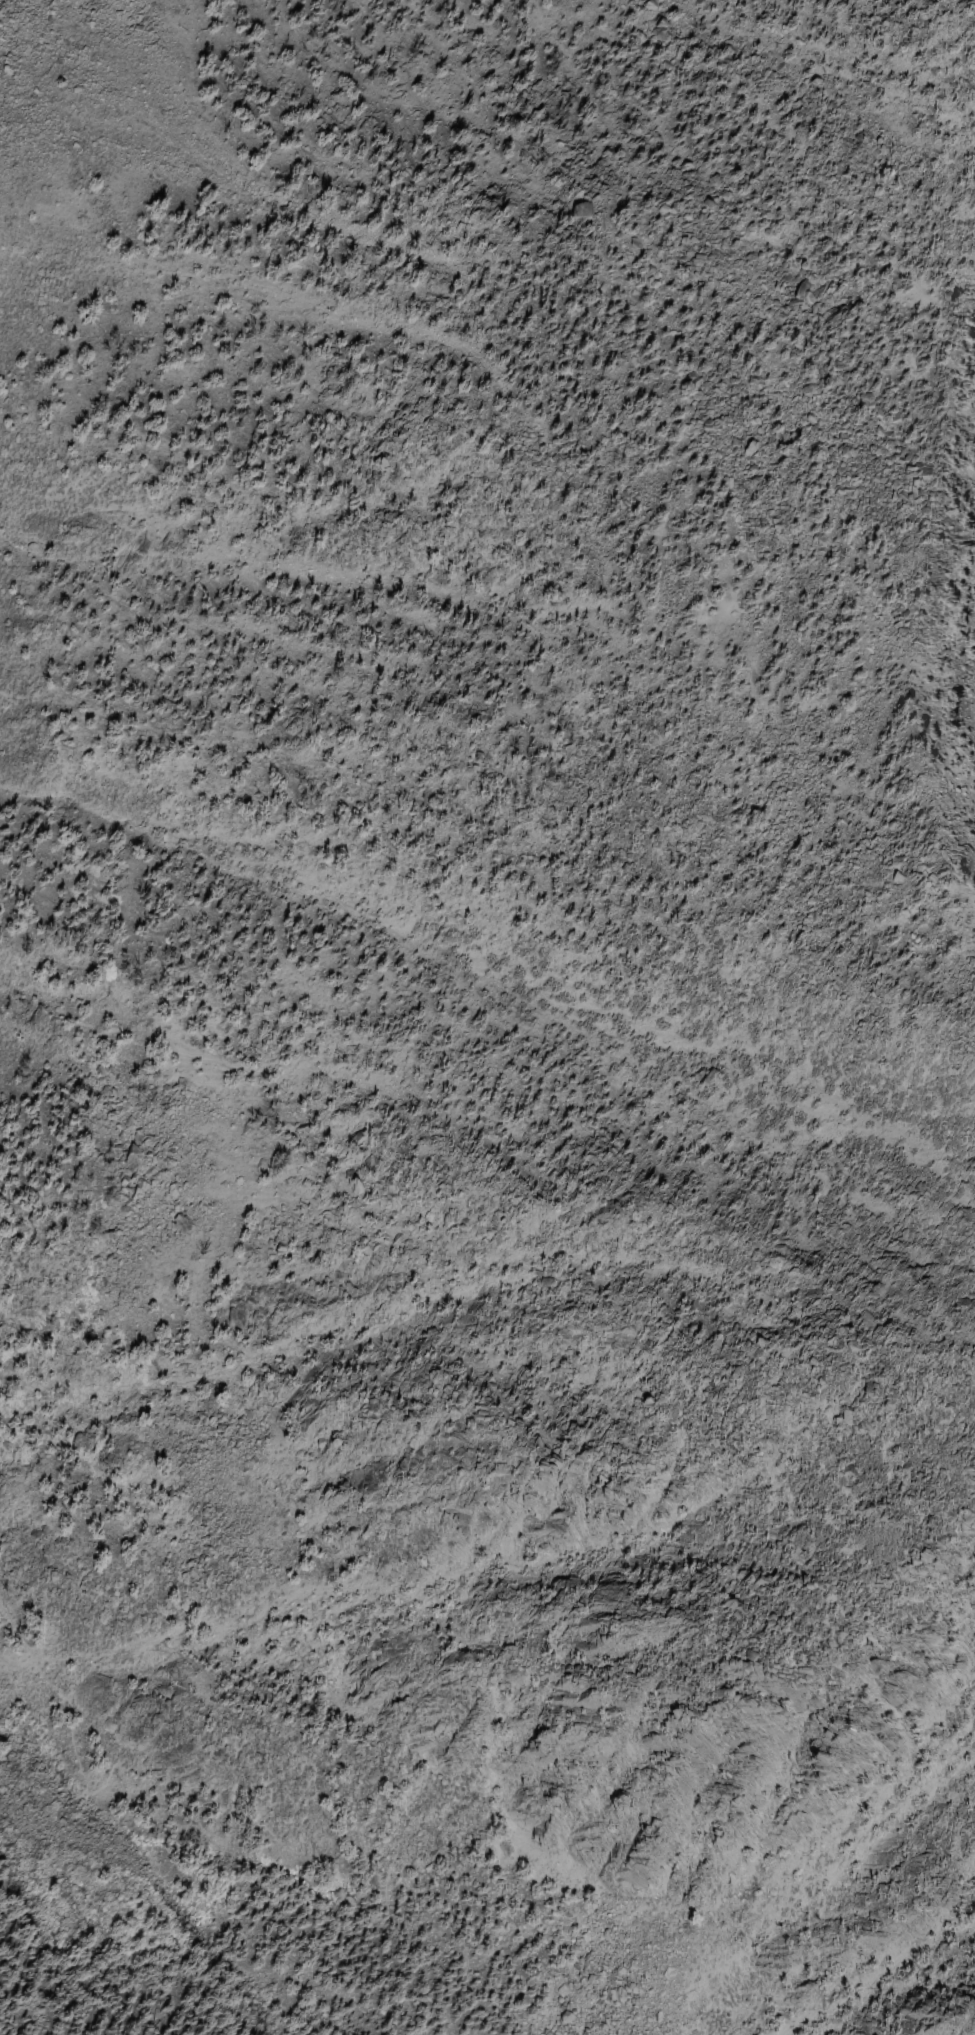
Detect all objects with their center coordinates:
road: (220, 1806)

